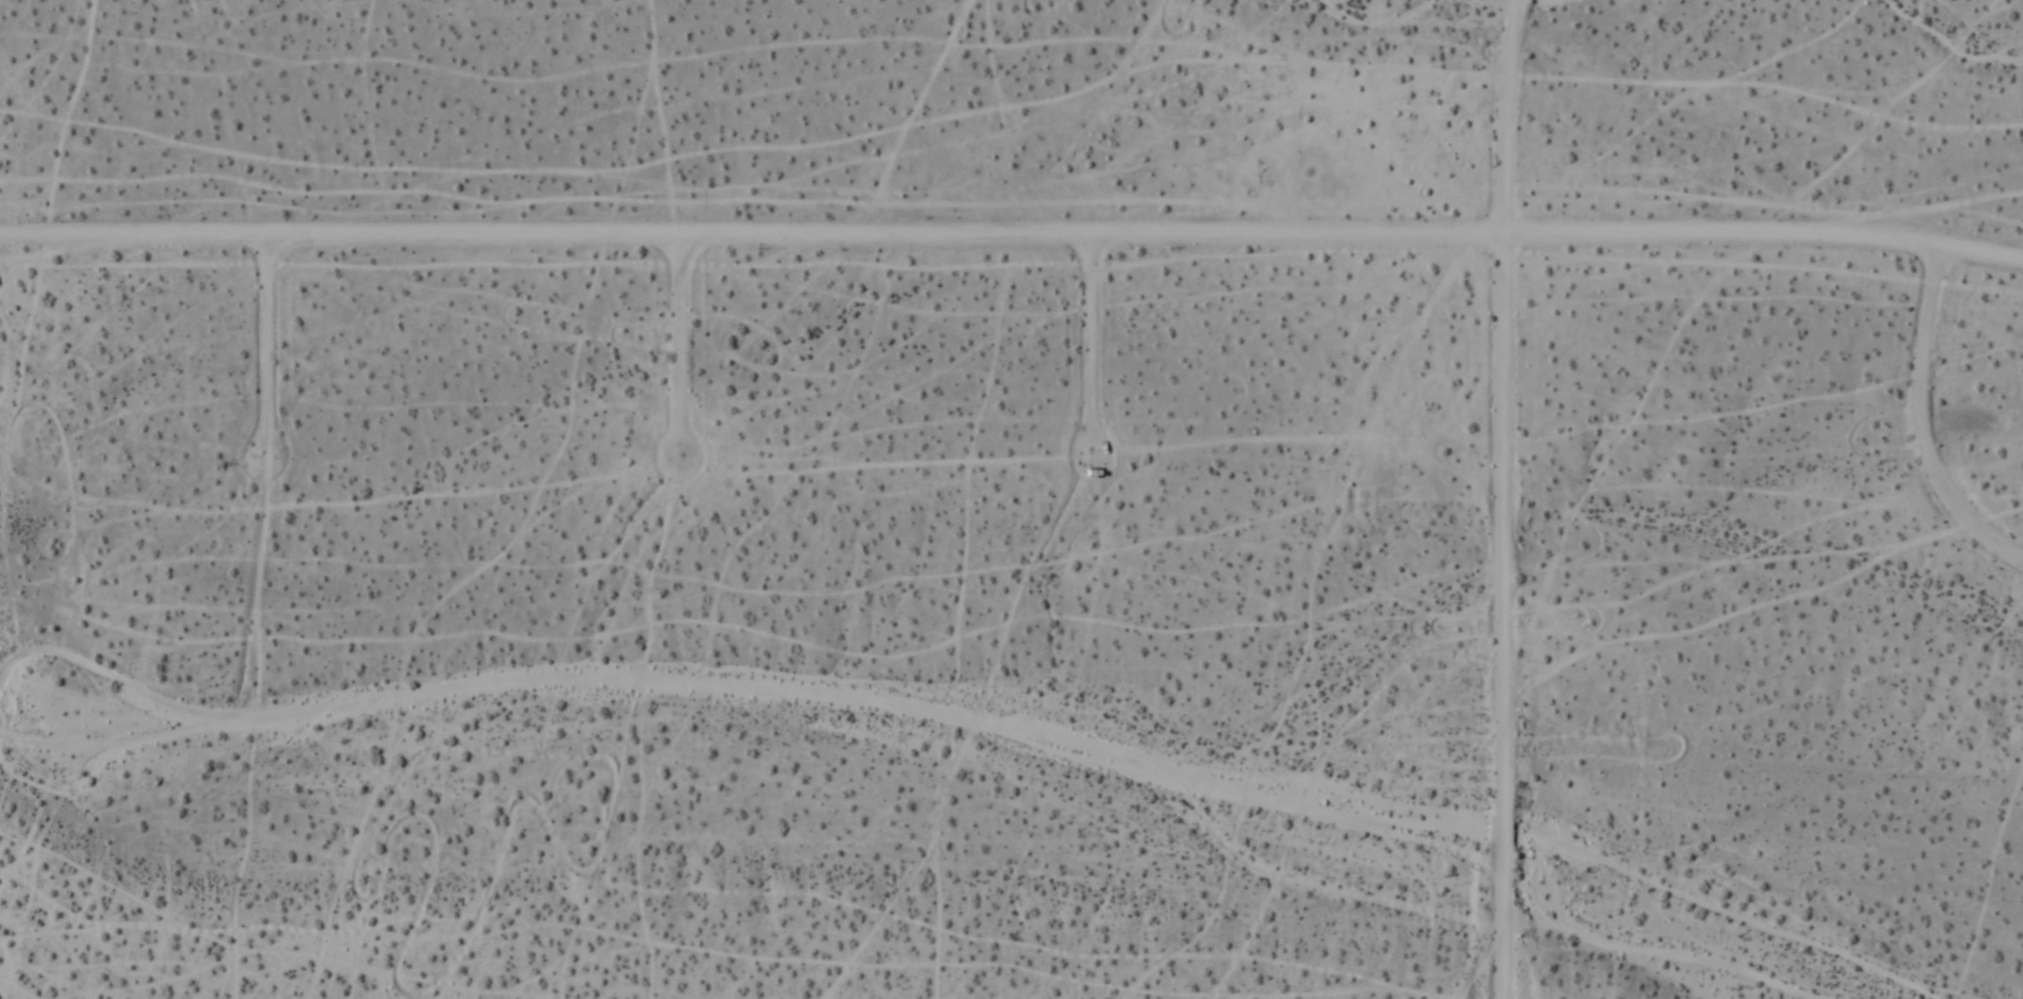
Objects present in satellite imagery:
road: (1012, 238)
road: (270, 346)
road: (1093, 349)
road: (682, 350)
road: (1923, 425)
road: (1506, 498)
crop: (1017, 569)

